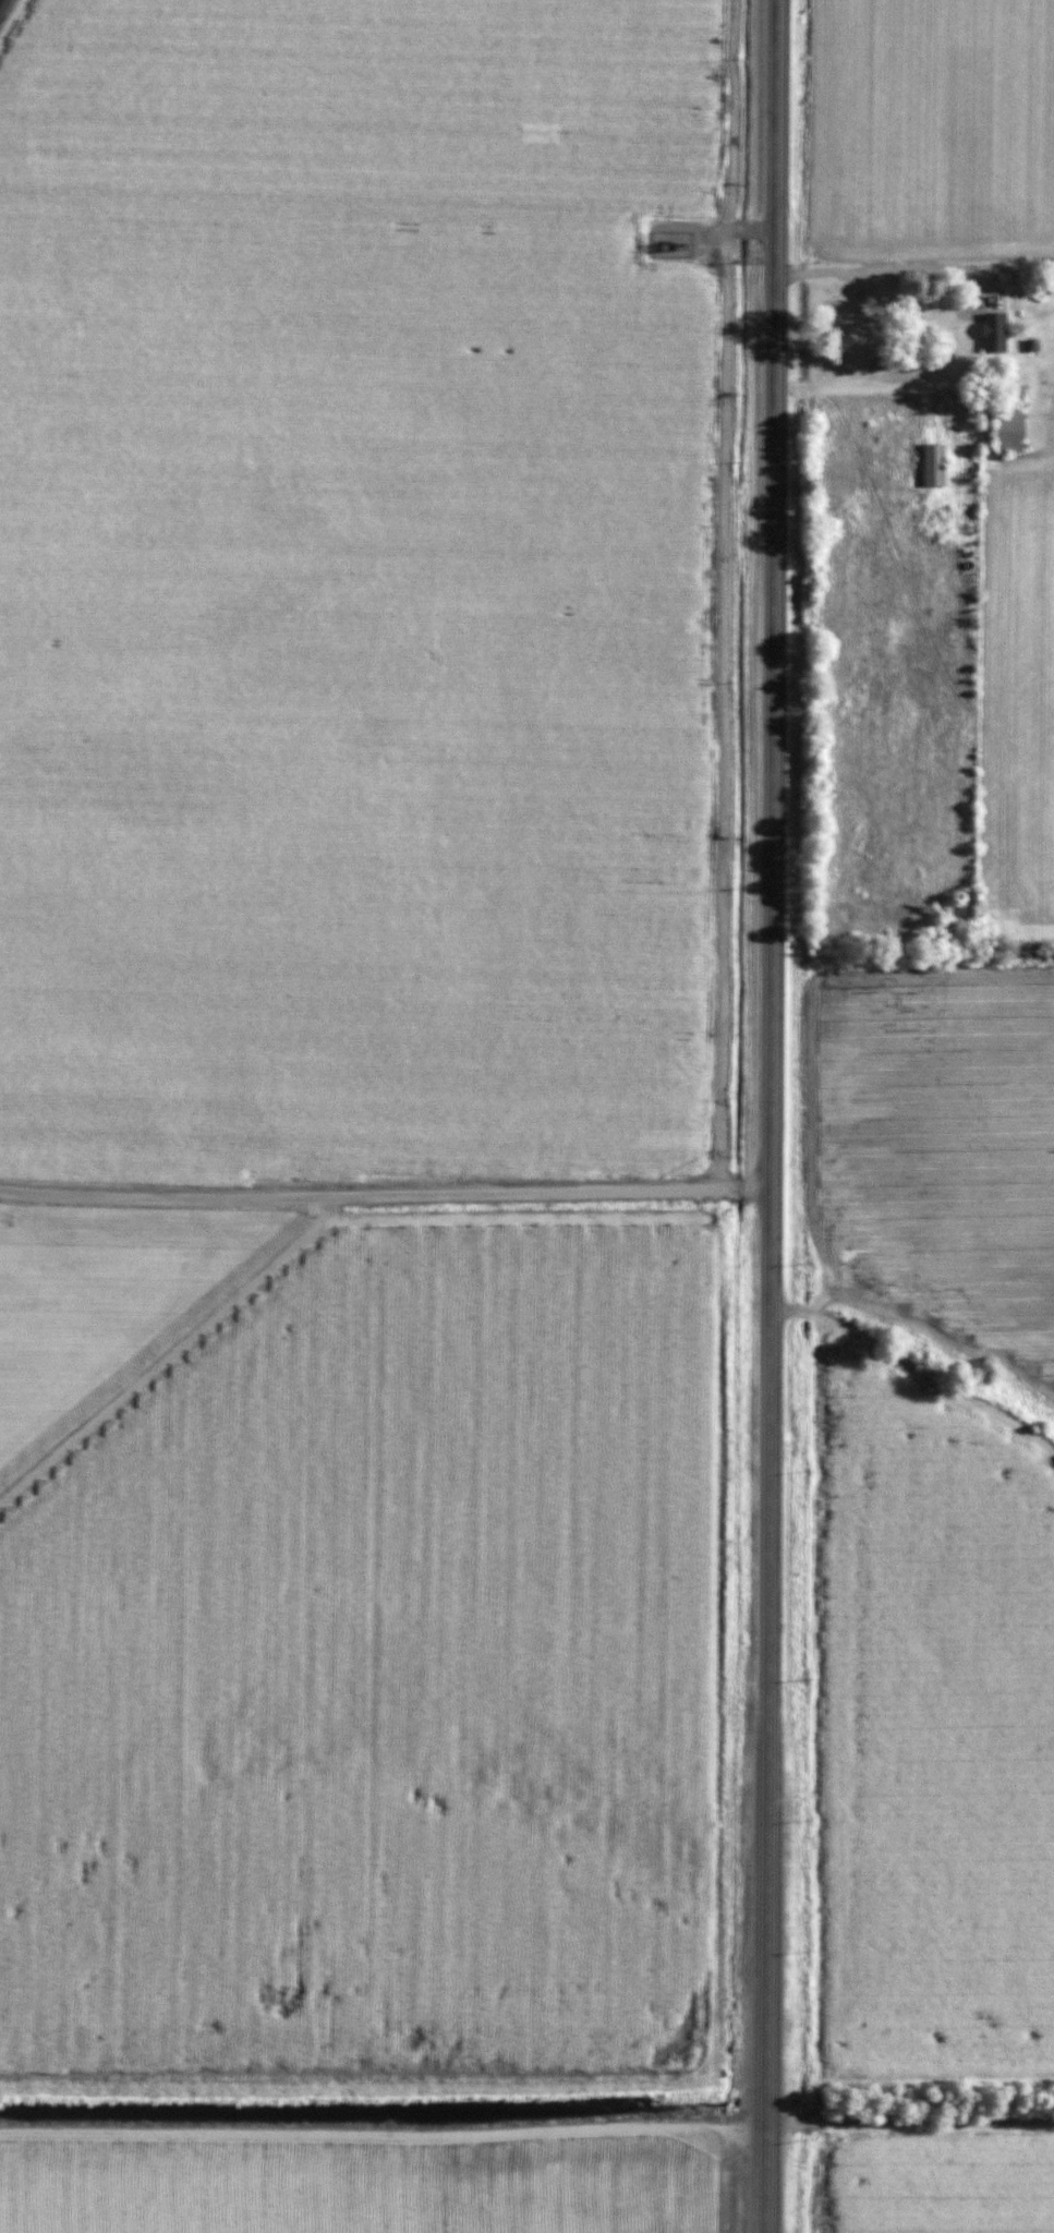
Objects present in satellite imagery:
road: (896, 270)
road: (770, 1116)
road: (384, 1196)

